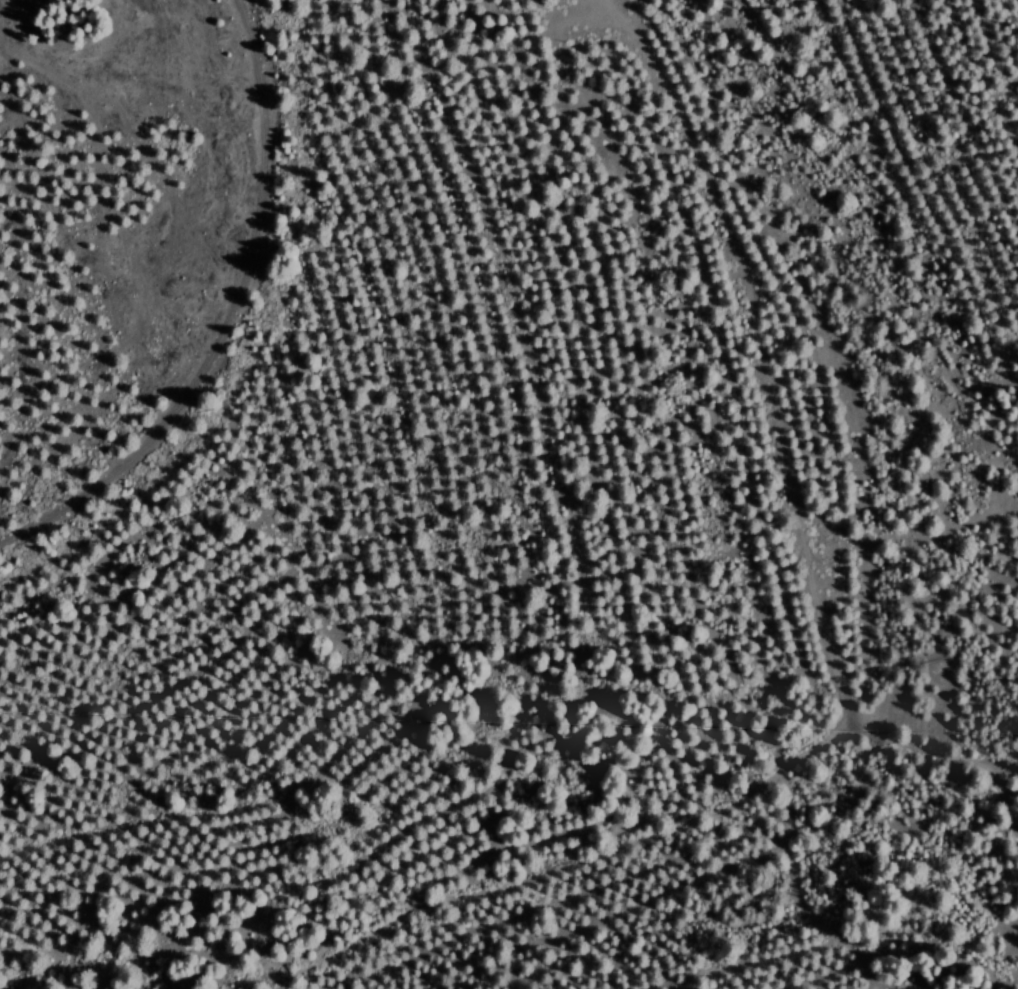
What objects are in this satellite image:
railway: (223, 316)
road: (678, 836)

